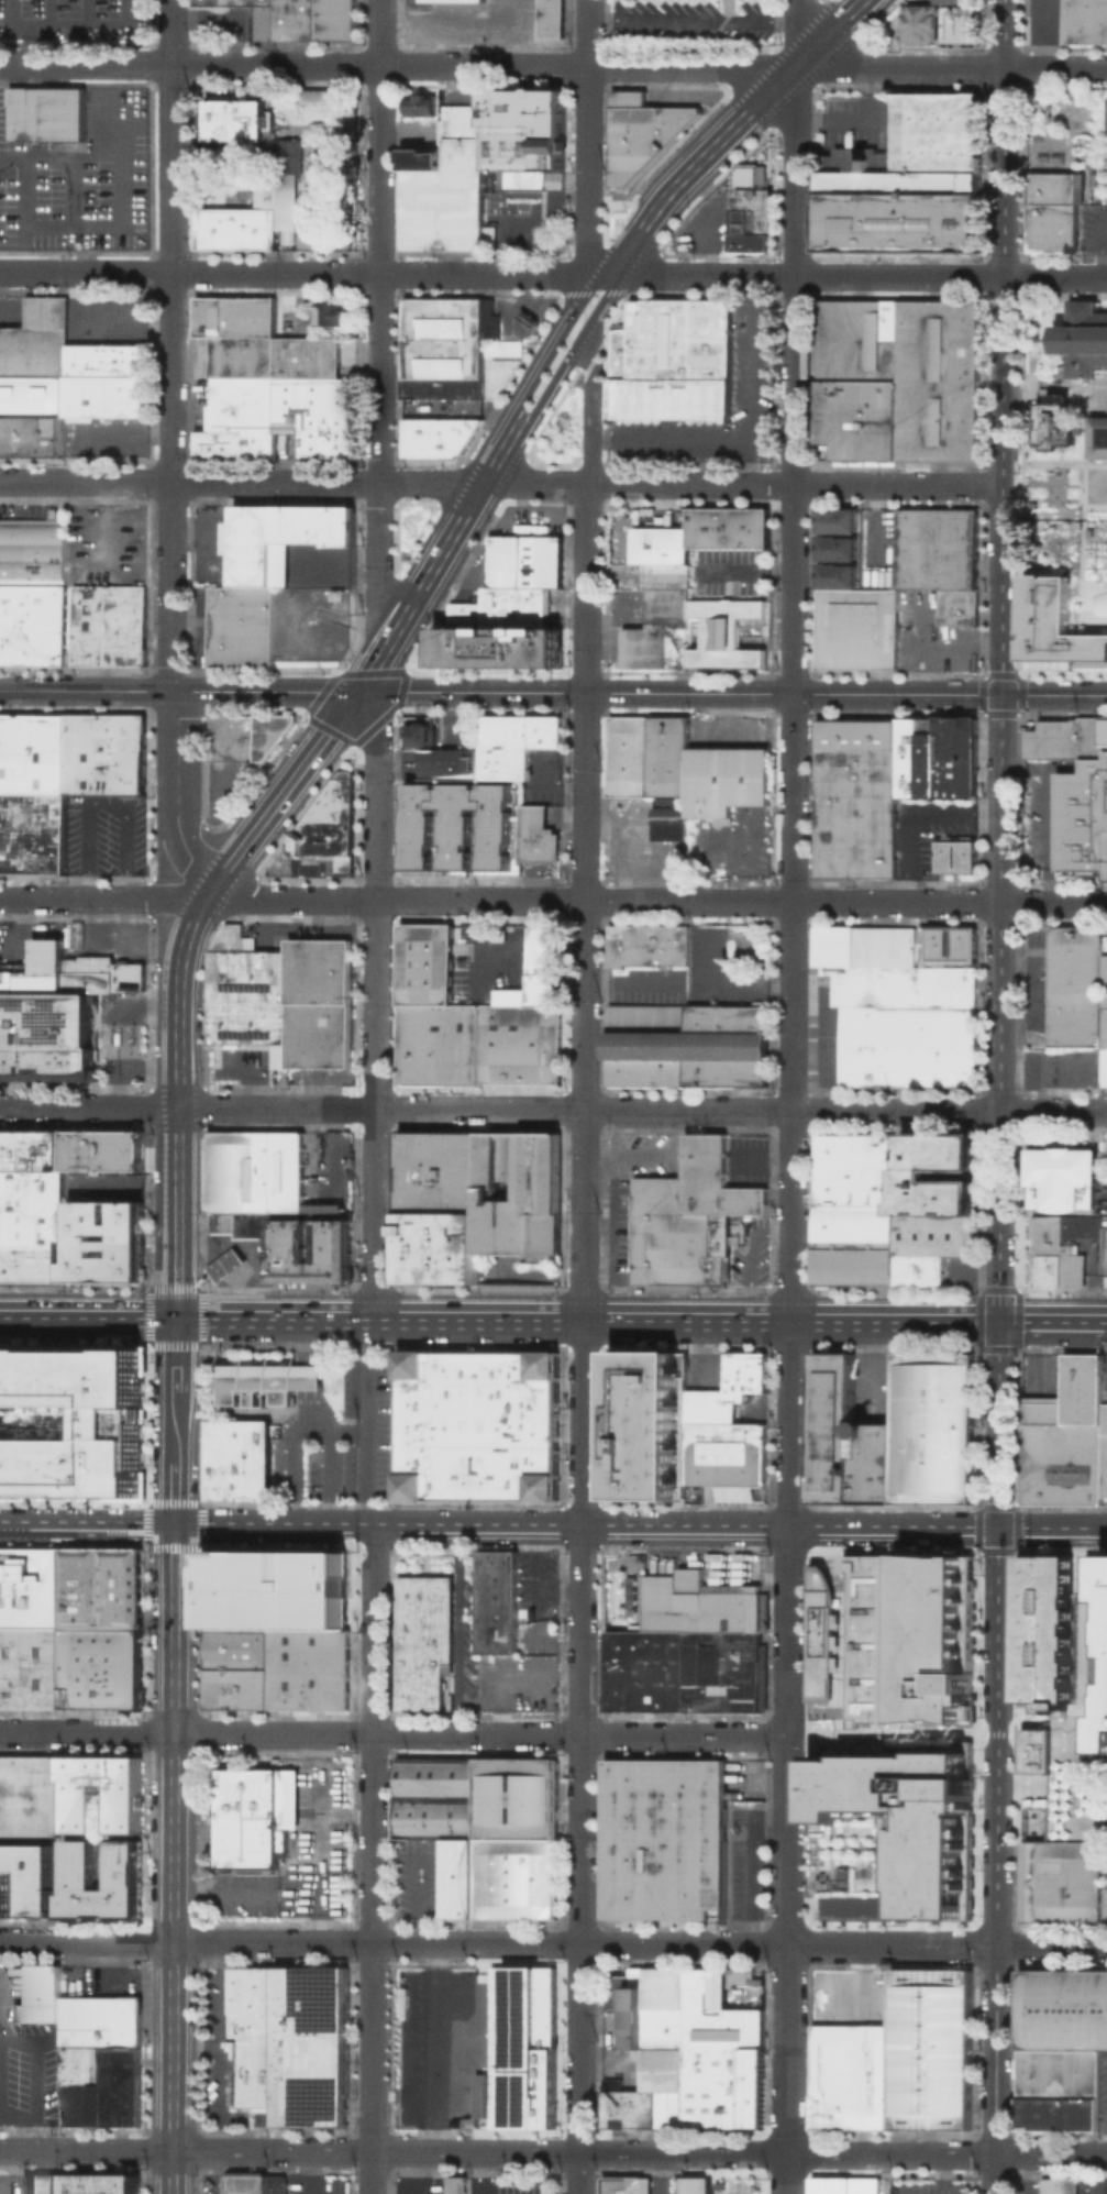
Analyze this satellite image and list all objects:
building: (464, 0)
building: (953, 1)
road: (58, 13)
road: (89, 14)
road: (453, 15)
parking lot: (73, 18)
road: (693, 18)
building: (550, 19)
road: (228, 20)
building: (316, 20)
building: (1084, 20)
parking lot: (468, 21)
parking lot: (223, 23)
building: (921, 23)
building: (961, 23)
building: (264, 24)
road: (73, 27)
road: (796, 33)
road: (830, 33)
road: (24, 45)
road: (553, 66)
building: (322, 95)
building: (420, 103)
building: (46, 112)
road: (854, 115)
building: (351, 118)
building: (236, 119)
building: (642, 132)
road: (587, 136)
building: (523, 139)
road: (115, 142)
building: (288, 156)
road: (11, 157)
building: (422, 157)
road: (695, 163)
building: (754, 168)
parking lot: (78, 178)
building: (449, 188)
road: (69, 191)
building: (276, 197)
building: (1059, 209)
building: (897, 210)
road: (709, 218)
building: (751, 220)
parking lot: (706, 223)
road: (114, 224)
building: (234, 229)
building: (287, 238)
building: (324, 238)
road: (380, 240)
road: (1106, 245)
road: (553, 272)
road: (585, 272)
road: (12, 310)
building: (333, 313)
parking lot: (107, 320)
road: (100, 326)
building: (1085, 338)
building: (36, 340)
building: (674, 340)
road: (550, 343)
road: (170, 345)
building: (451, 345)
road: (569, 354)
road: (752, 378)
building: (899, 378)
building: (107, 381)
building: (272, 386)
building: (33, 397)
building: (672, 398)
road: (589, 401)
building: (1056, 421)
road: (101, 436)
building: (32, 437)
building: (1099, 437)
building: (438, 438)
road: (671, 439)
road: (500, 483)
road: (1054, 485)
road: (524, 499)
parking lot: (26, 510)
road: (532, 517)
road: (102, 519)
building: (839, 519)
parking lot: (530, 520)
road: (454, 532)
road: (876, 533)
building: (704, 534)
building: (283, 541)
parking lot: (104, 543)
building: (838, 549)
parking lot: (882, 549)
building: (32, 551)
road: (380, 560)
building: (944, 560)
building: (527, 563)
parking lot: (321, 565)
parking lot: (731, 572)
road: (746, 572)
building: (838, 575)
building: (667, 576)
building: (340, 595)
building: (516, 608)
building: (467, 614)
parking lot: (312, 624)
building: (33, 625)
building: (109, 625)
building: (1056, 626)
building: (244, 627)
building: (657, 628)
building: (859, 629)
building: (727, 633)
parking lot: (933, 637)
road: (700, 643)
road: (722, 643)
road: (766, 643)
building: (497, 649)
road: (960, 649)
road: (919, 651)
road: (375, 663)
road: (86, 690)
road: (264, 691)
traffic signals: (357, 692)
road: (472, 692)
road: (794, 694)
traffic signals: (1001, 695)
road: (1054, 695)
building: (419, 729)
building: (244, 736)
building: (1066, 740)
building: (514, 742)
building: (32, 751)
building: (106, 752)
building: (936, 756)
building: (651, 757)
building: (451, 762)
road: (1001, 762)
building: (729, 780)
parking lot: (226, 785)
road: (377, 793)
road: (279, 795)
building: (855, 797)
road: (174, 800)
road: (102, 804)
building: (668, 818)
building: (1082, 818)
building: (457, 824)
building: (326, 826)
building: (32, 833)
parking lot: (104, 833)
building: (536, 835)
building: (514, 851)
building: (959, 855)
parking lot: (296, 869)
road: (553, 901)
road: (262, 922)
parking lot: (321, 930)
road: (514, 930)
parking lot: (267, 935)
parking lot: (103, 939)
building: (953, 942)
road: (182, 944)
building: (650, 945)
building: (864, 948)
building: (541, 949)
building: (425, 962)
building: (35, 970)
building: (245, 970)
building: (320, 971)
building: (88, 973)
building: (126, 977)
building: (542, 988)
building: (904, 989)
building: (1075, 989)
road: (1027, 990)
building: (1104, 1025)
building: (251, 1027)
road: (115, 1028)
building: (303, 1036)
building: (48, 1037)
building: (336, 1037)
building: (517, 1038)
building: (438, 1043)
building: (689, 1047)
building: (907, 1049)
parking lot: (242, 1062)
road: (147, 1071)
parking lot: (320, 1076)
road: (376, 1106)
road: (553, 1109)
road: (790, 1131)
building: (18, 1148)
road: (334, 1148)
building: (48, 1149)
building: (102, 1149)
building: (939, 1150)
road: (178, 1153)
building: (853, 1169)
building: (439, 1170)
building: (257, 1172)
building: (1063, 1176)
building: (715, 1179)
parking lot: (102, 1183)
building: (31, 1188)
road: (129, 1190)
building: (934, 1194)
road: (611, 1201)
building: (106, 1219)
building: (242, 1224)
building: (31, 1226)
building: (657, 1230)
road: (248, 1245)
building: (852, 1245)
building: (928, 1245)
building: (439, 1246)
building: (705, 1247)
building: (1069, 1247)
building: (292, 1249)
building: (333, 1249)
building: (1104, 1249)
building: (1048, 1250)
road: (748, 1256)
building: (96, 1259)
road: (236, 1259)
building: (69, 1260)
building: (129, 1260)
parking lot: (262, 1261)
building: (13, 1263)
building: (36, 1264)
building: (54, 1264)
road: (225, 1264)
building: (225, 1265)
gas station: (225, 1265)
road: (217, 1270)
road: (606, 1300)
road: (87, 1313)
traffic signals: (175, 1314)
road: (481, 1314)
road: (894, 1316)
traffic signals: (998, 1320)
road: (1049, 1322)
road: (1104, 1322)
road: (305, 1338)
road: (584, 1338)
road: (312, 1350)
road: (298, 1352)
building: (752, 1371)
building: (732, 1376)
road: (306, 1377)
road: (314, 1377)
road: (298, 1378)
building: (263, 1380)
road: (594, 1403)
road: (312, 1404)
road: (299, 1405)
building: (706, 1405)
road: (307, 1411)
road: (243, 1413)
road: (368, 1418)
building: (70, 1423)
building: (476, 1424)
building: (644, 1425)
building: (930, 1429)
road: (318, 1432)
building: (1066, 1438)
building: (843, 1441)
parking lot: (343, 1442)
building: (724, 1453)
road: (329, 1456)
building: (236, 1459)
road: (292, 1471)
road: (553, 1522)
road: (48, 1523)
road: (135, 1523)
traffic signals: (174, 1523)
road: (965, 1524)
traffic signals: (998, 1525)
road: (1052, 1525)
road: (806, 1539)
road: (535, 1567)
parking lot: (535, 1583)
building: (276, 1588)
building: (32, 1589)
building: (104, 1590)
road: (558, 1591)
building: (495, 1599)
building: (697, 1605)
building: (1044, 1627)
road: (174, 1628)
road: (456, 1628)
parking lot: (534, 1634)
building: (892, 1639)
building: (423, 1640)
road: (554, 1642)
road: (842, 1649)
building: (1089, 1649)
building: (124, 1650)
building: (1103, 1658)
building: (236, 1667)
building: (308, 1667)
building: (32, 1669)
building: (85, 1671)
building: (644, 1671)
building: (722, 1671)
road: (541, 1674)
building: (124, 1689)
building: (449, 1700)
road: (842, 1731)
road: (392, 1734)
road: (798, 1734)
road: (914, 1734)
building: (1033, 1750)
building: (1073, 1771)
parking garage: (1073, 1771)
building: (436, 1776)
parking lot: (745, 1778)
building: (31, 1797)
building: (516, 1797)
building: (128, 1810)
road: (318, 1815)
road: (345, 1815)
building: (255, 1816)
building: (435, 1817)
building: (893, 1830)
road: (86, 1838)
building: (664, 1838)
parking lot: (314, 1842)
road: (373, 1856)
road: (995, 1859)
parking lot: (743, 1863)
building: (80, 1866)
parking lot: (419, 1877)
road: (419, 1877)
building: (498, 1877)
building: (30, 1879)
building: (1058, 1881)
road: (60, 1892)
road: (225, 1895)
parking lot: (240, 1895)
road: (298, 1895)
building: (1106, 1903)
road: (317, 1919)
road: (86, 1942)
road: (639, 1944)
road: (102, 1974)
building: (740, 1975)
parking lot: (110, 1981)
road: (0, 1983)
building: (704, 1986)
building: (620, 1987)
building: (663, 1987)
building: (734, 1999)
building: (1061, 2009)
building: (78, 2011)
building: (652, 2022)
building: (722, 2028)
building: (294, 2043)
road: (171, 2046)
building: (522, 2046)
building: (927, 2049)
parking lot: (29, 2074)
road: (34, 2076)
building: (848, 2076)
building: (99, 2087)
building: (721, 2087)
building: (642, 2090)
building: (1055, 2090)
building: (668, 2109)
building: (469, 2121)
road: (19, 2131)
road: (85, 2150)
road: (639, 2152)
road: (170, 2172)
road: (217, 2172)
road: (317, 2172)
road: (418, 2172)
road: (477, 2173)
road: (657, 2173)
parking lot: (11, 2183)
building: (244, 2183)
building: (276, 2183)
building: (42, 2184)
building: (101, 2184)
building: (455, 2184)
building: (626, 2184)
building: (696, 2184)
building: (843, 2185)
parking lot: (929, 2185)
building: (1058, 2185)
parking lot: (1029, 2186)

